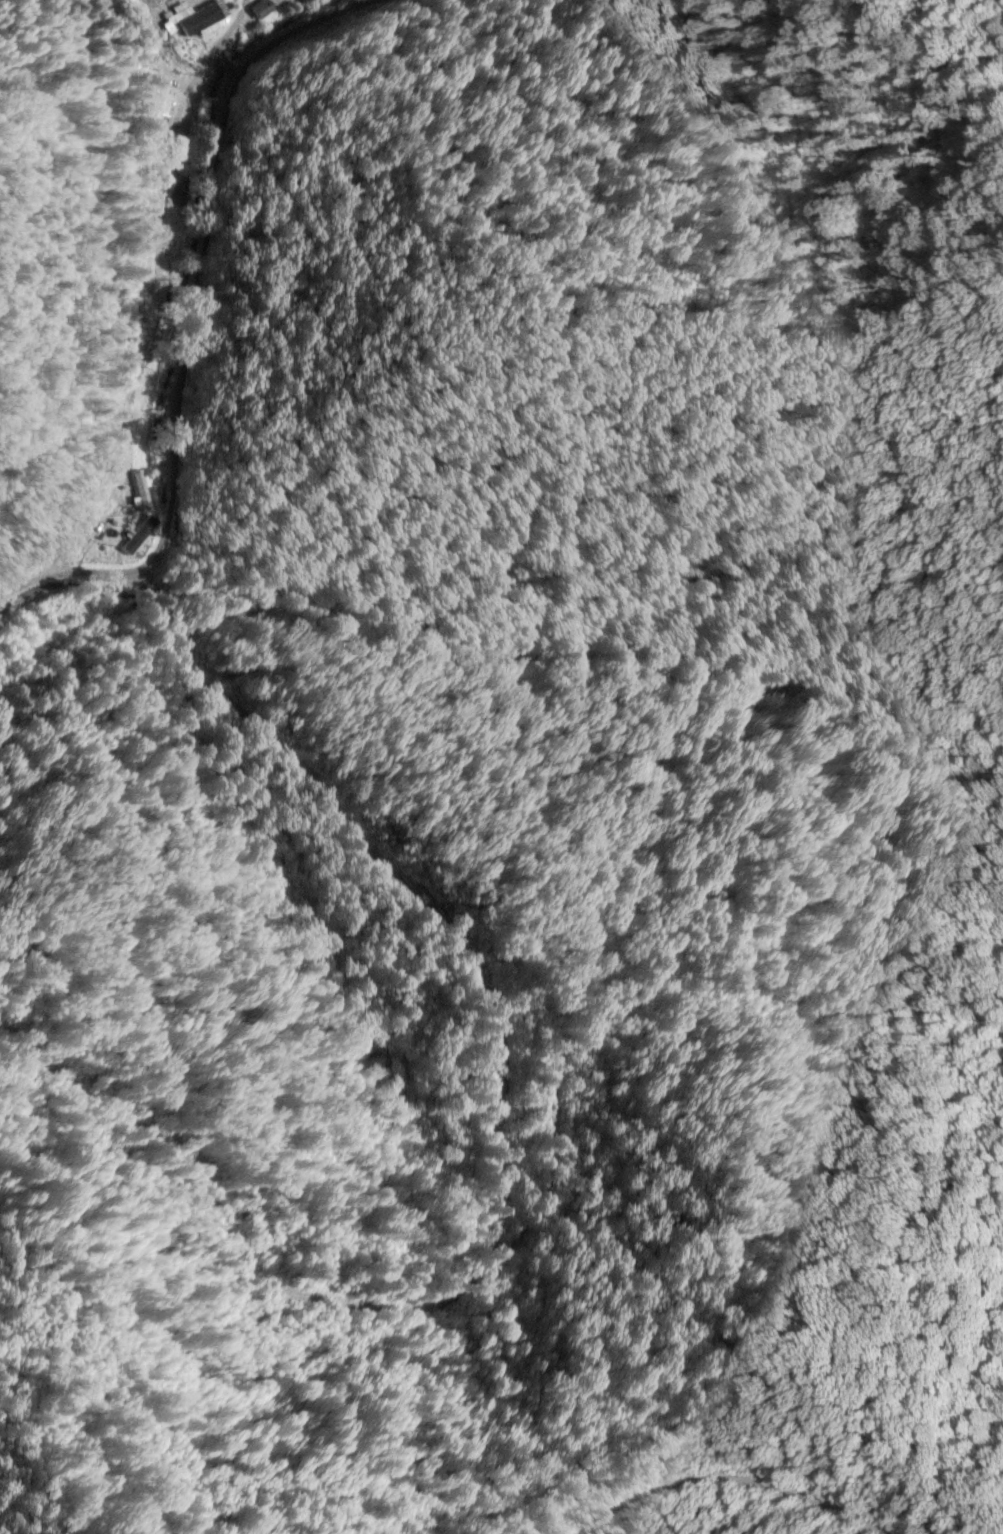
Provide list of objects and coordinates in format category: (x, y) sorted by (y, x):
road: (190, 327)

